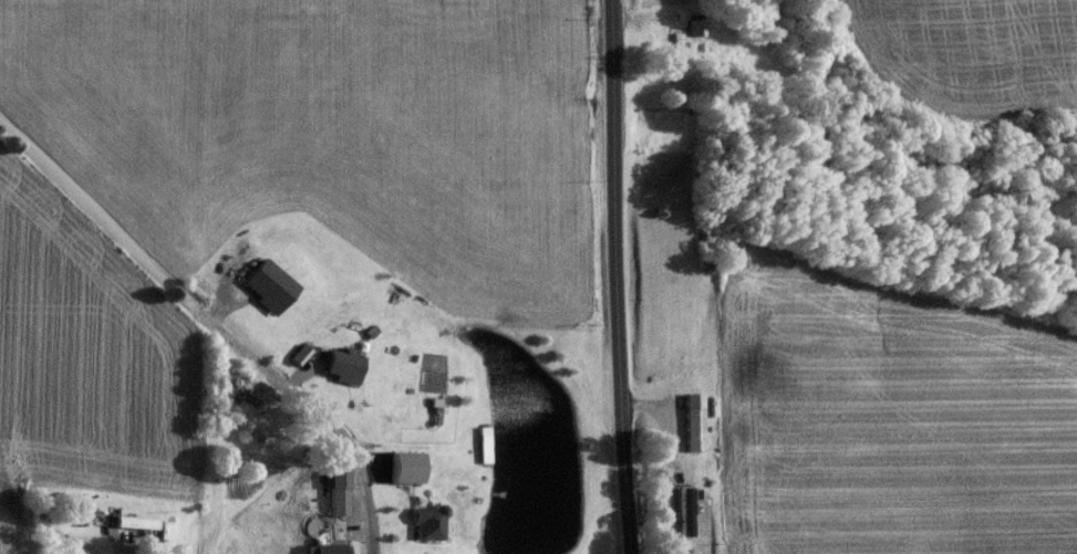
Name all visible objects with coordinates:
building: (694, 29)
building: (674, 50)
road: (617, 276)
building: (266, 286)
road: (218, 326)
building: (341, 366)
building: (386, 369)
building: (692, 424)
building: (402, 469)
building: (335, 493)
building: (682, 508)
building: (133, 523)
building: (425, 524)
building: (328, 548)

